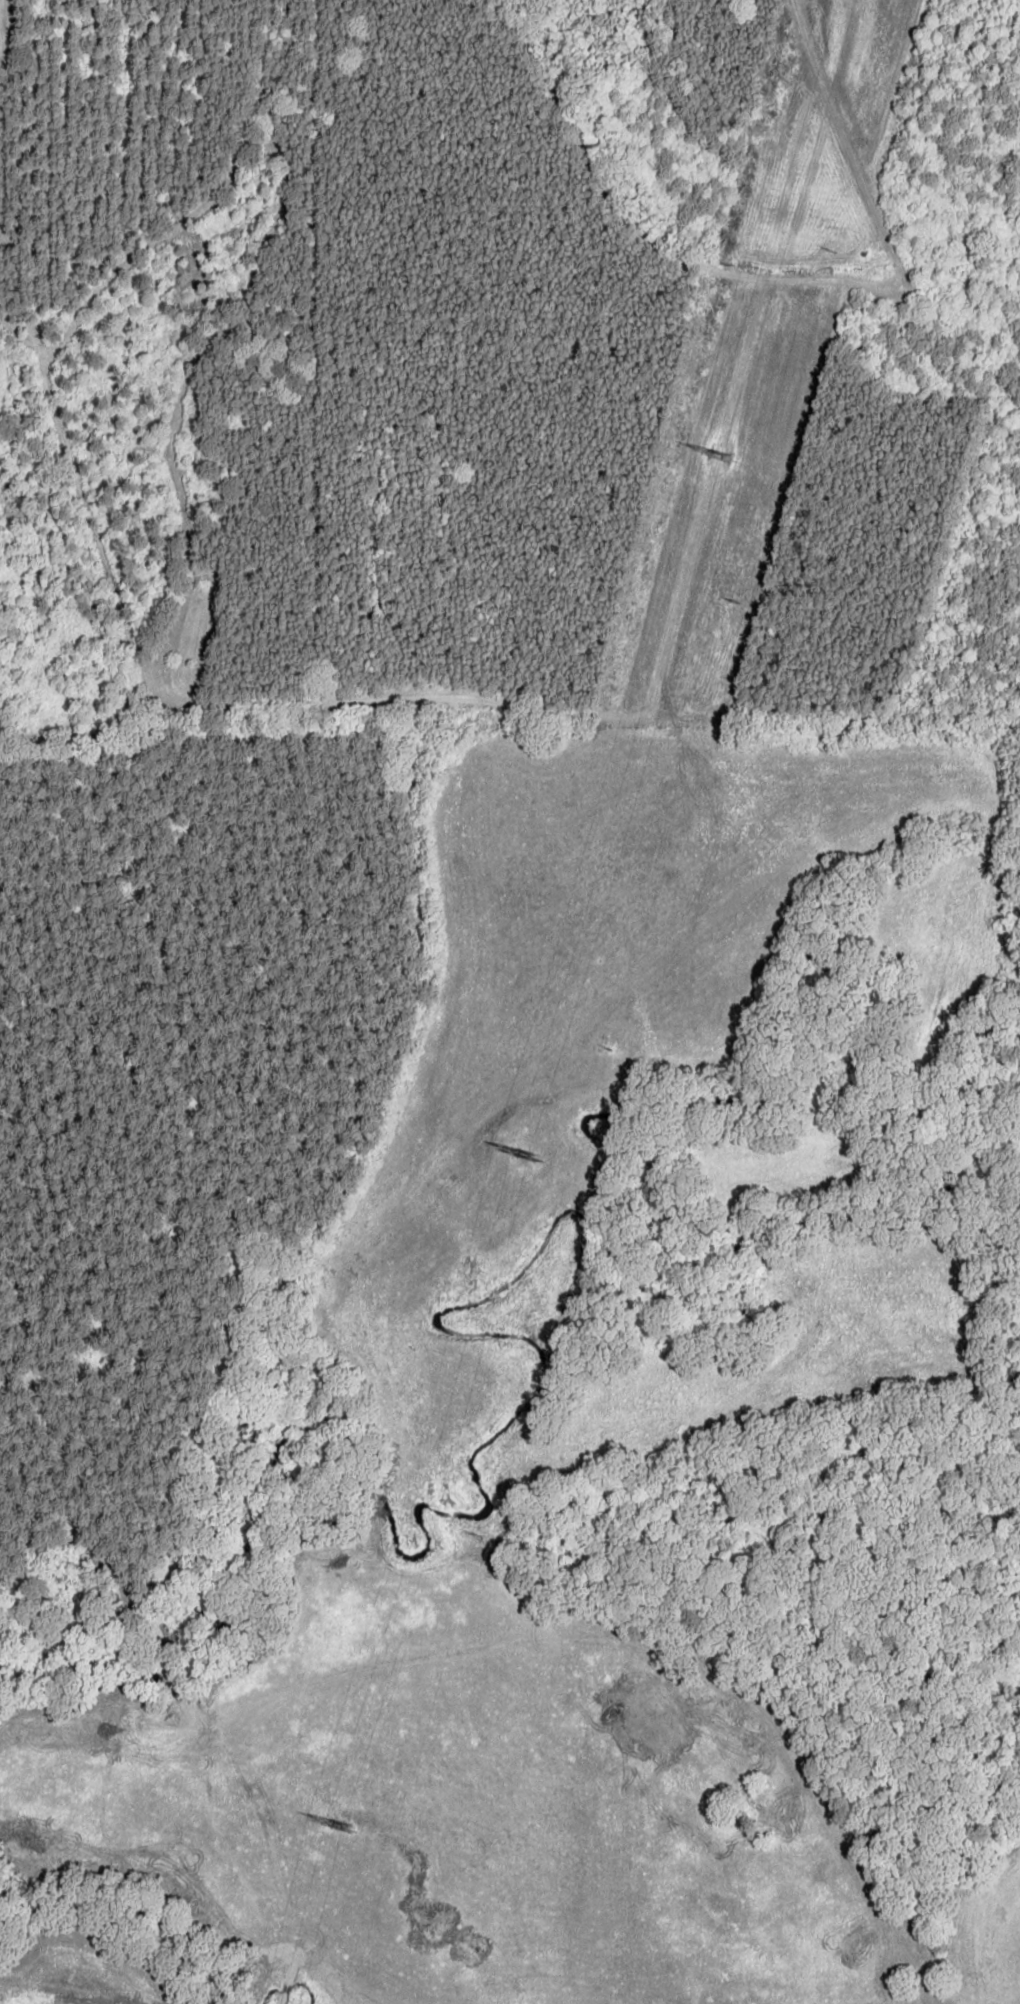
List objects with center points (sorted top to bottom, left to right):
power tower: (705, 455)
power tower: (514, 1156)
power tower: (333, 1817)

